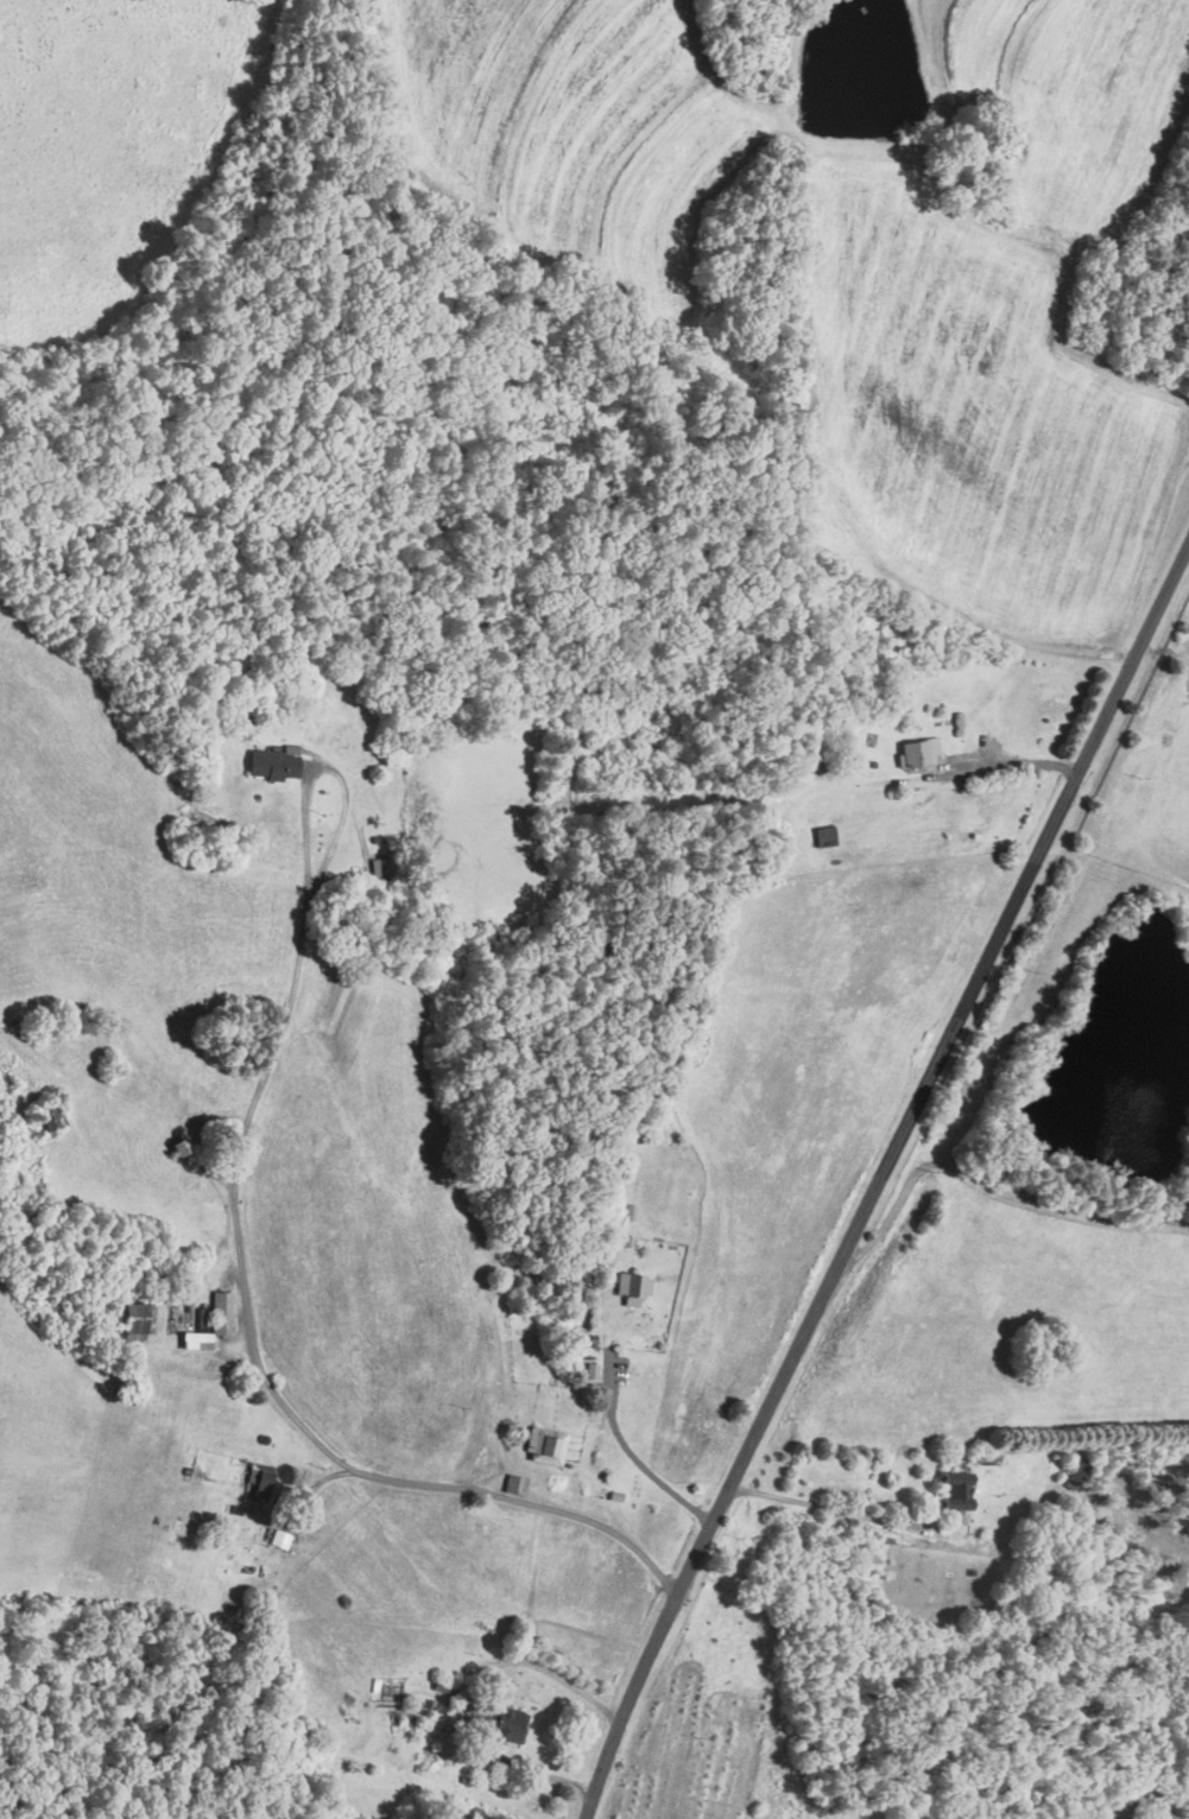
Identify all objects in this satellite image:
building: (916, 750)
building: (272, 761)
road: (1016, 763)
road: (333, 831)
road: (306, 957)
building: (46, 1116)
road: (879, 1179)
building: (631, 1287)
building: (221, 1312)
building: (134, 1317)
building: (194, 1339)
building: (590, 1370)
building: (544, 1445)
road: (630, 1456)
road: (356, 1463)
building: (258, 1477)
building: (954, 1490)
road: (827, 1506)
road: (467, 1692)
building: (506, 1724)

